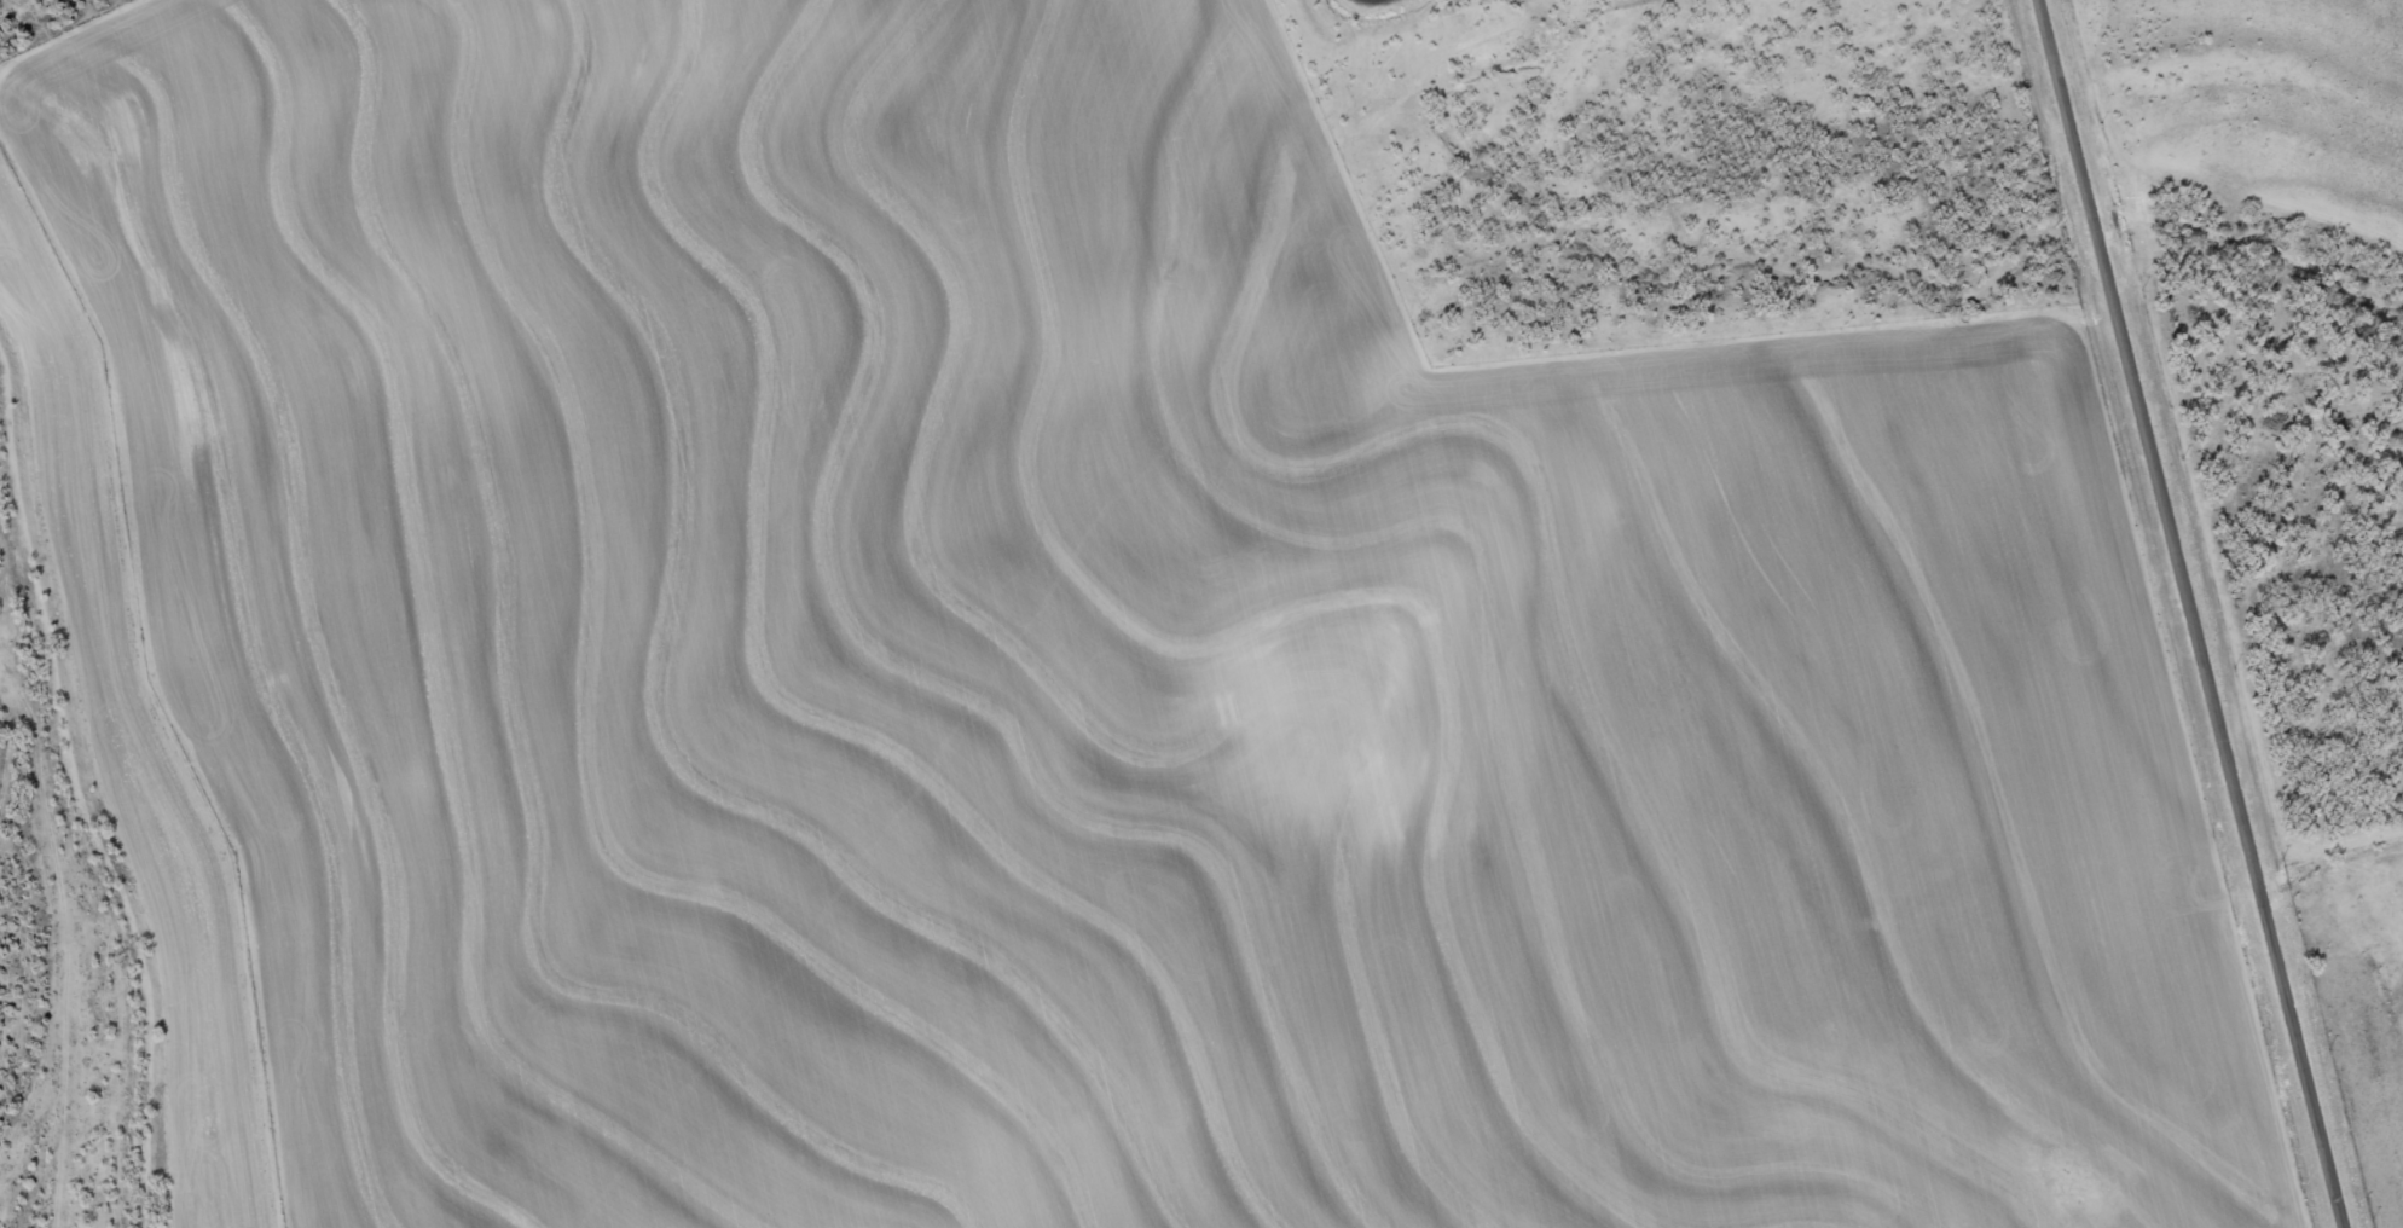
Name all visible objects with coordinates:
road: (2196, 614)

